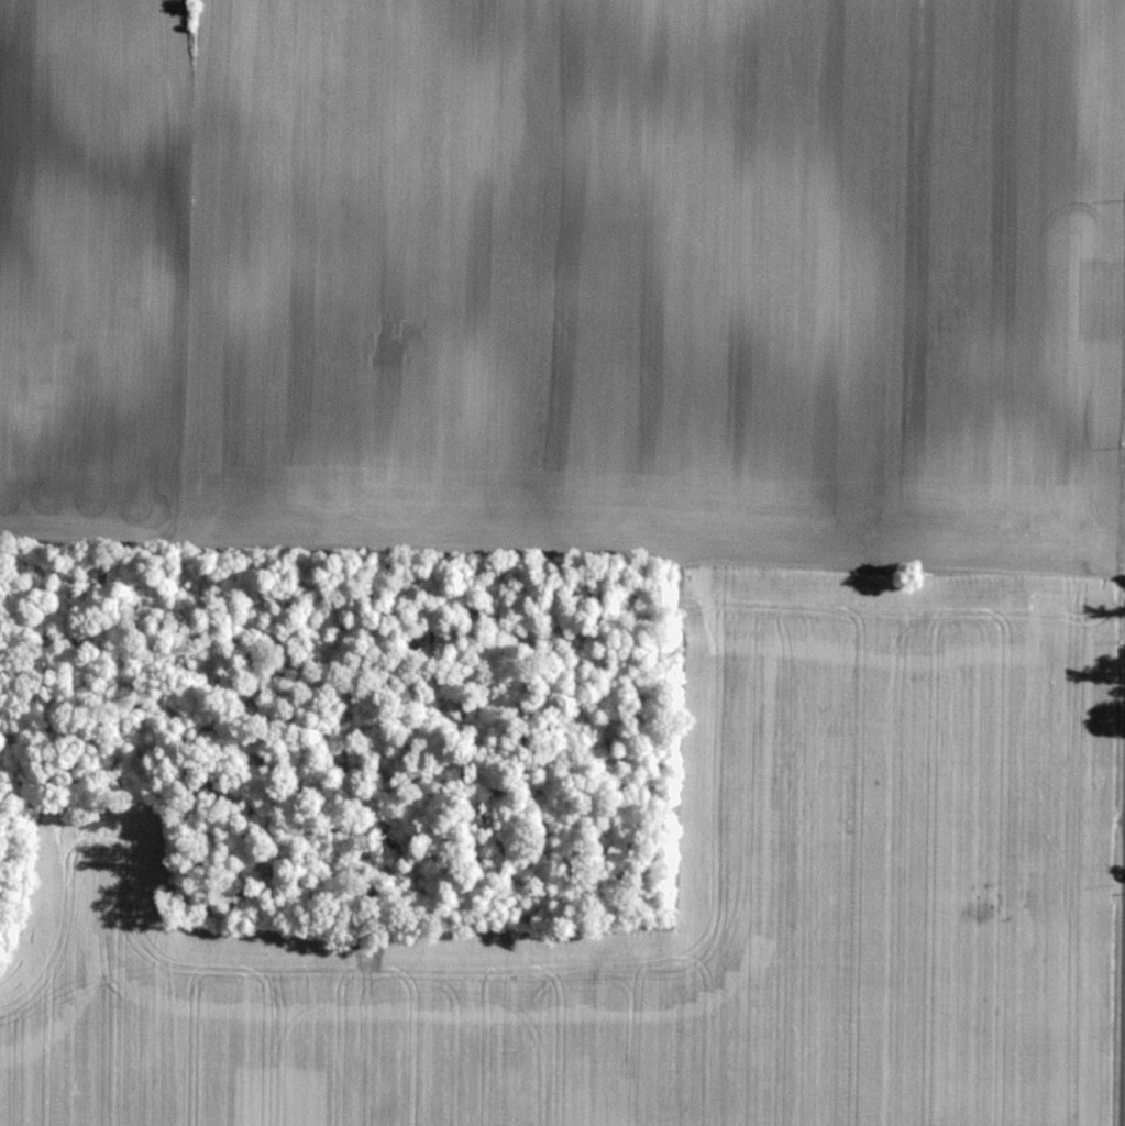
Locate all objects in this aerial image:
road: (1123, 1022)

